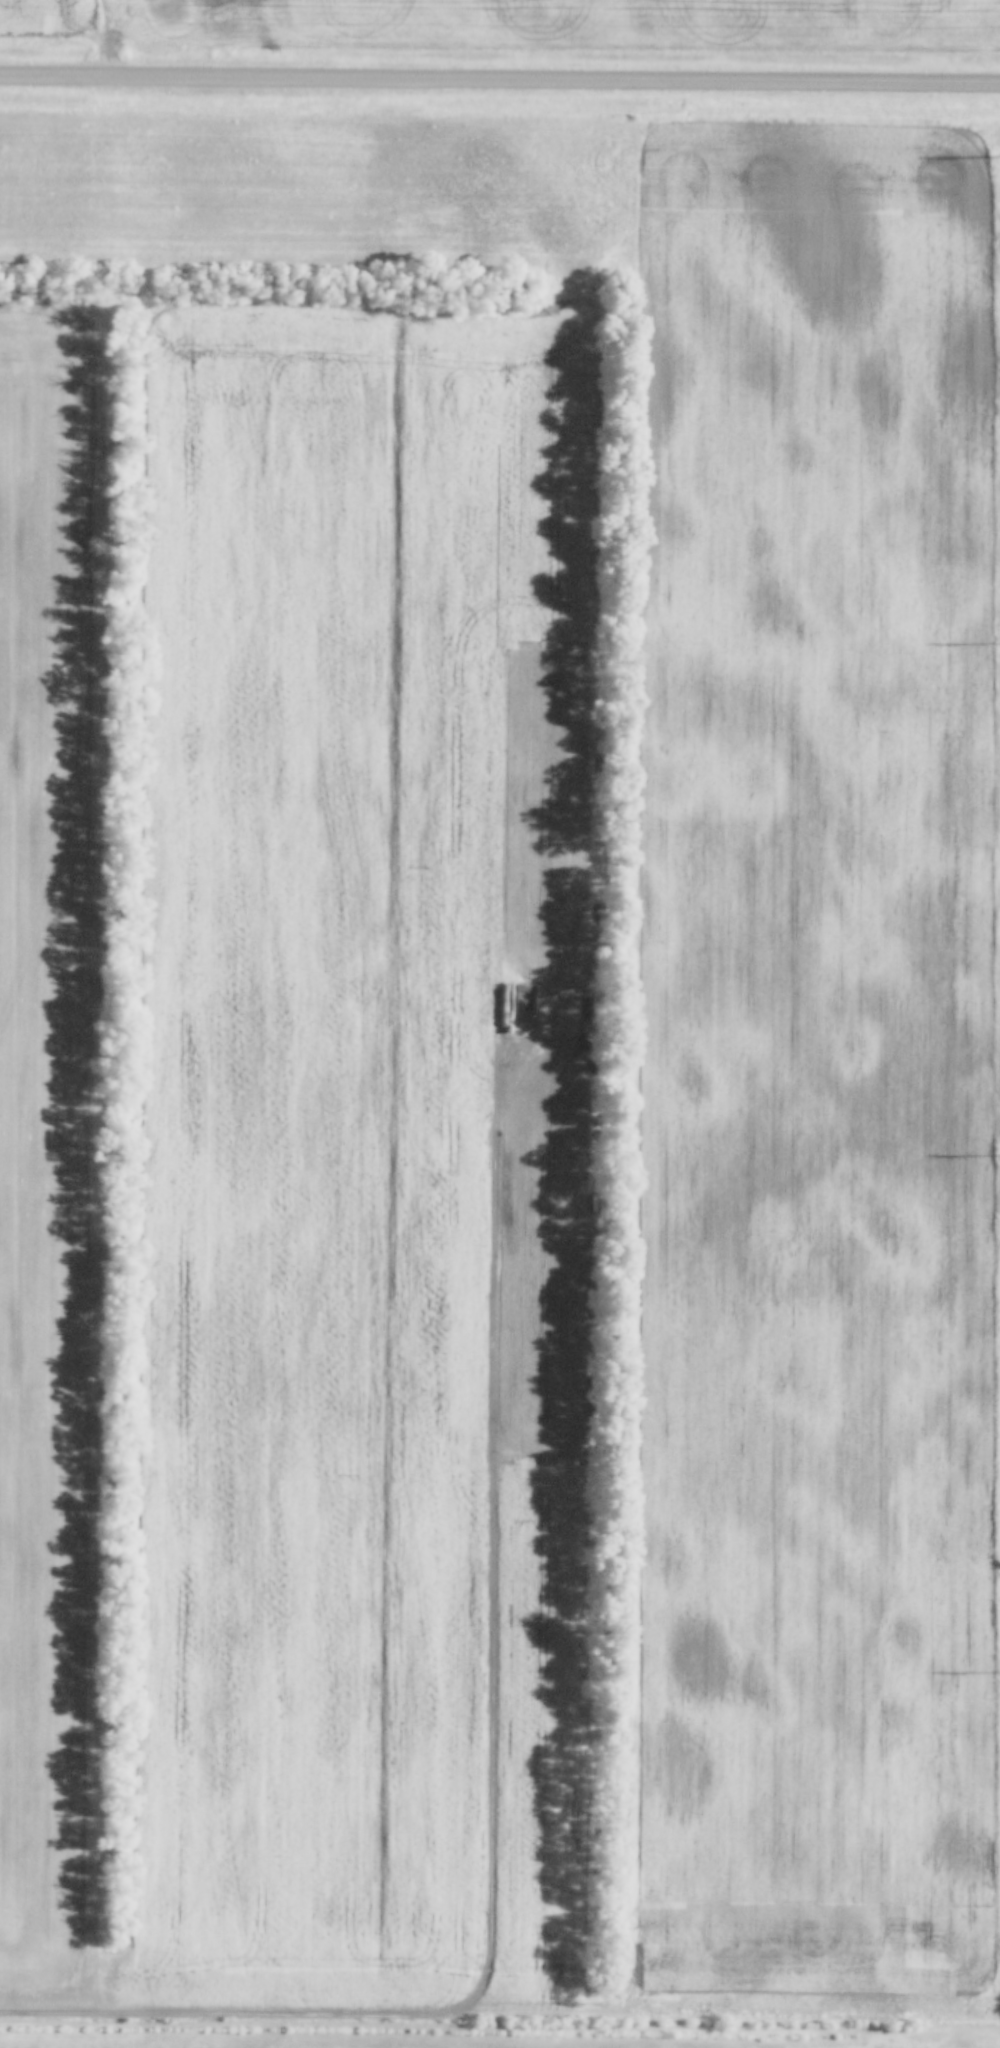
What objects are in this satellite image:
road: (500, 82)
power tower: (997, 156)
road: (239, 2018)

